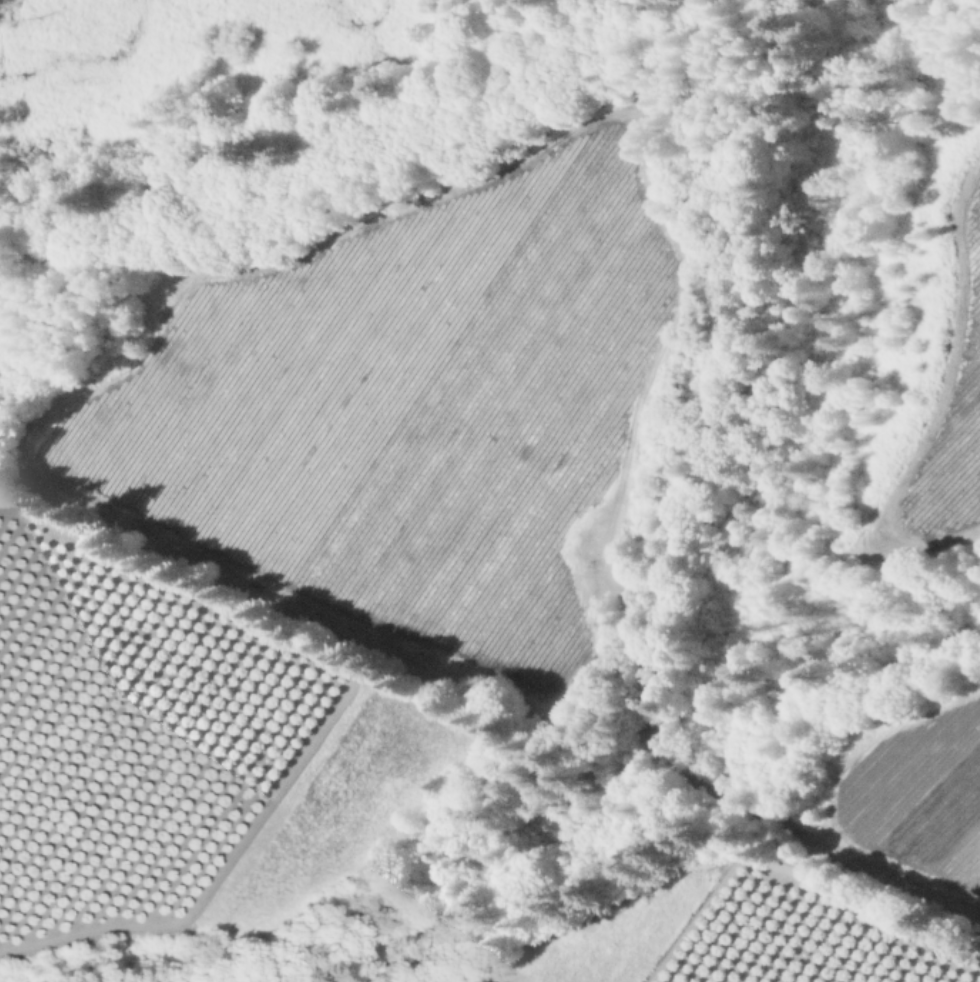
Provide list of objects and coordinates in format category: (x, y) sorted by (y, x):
crop: (945, 413)
crop: (921, 783)

